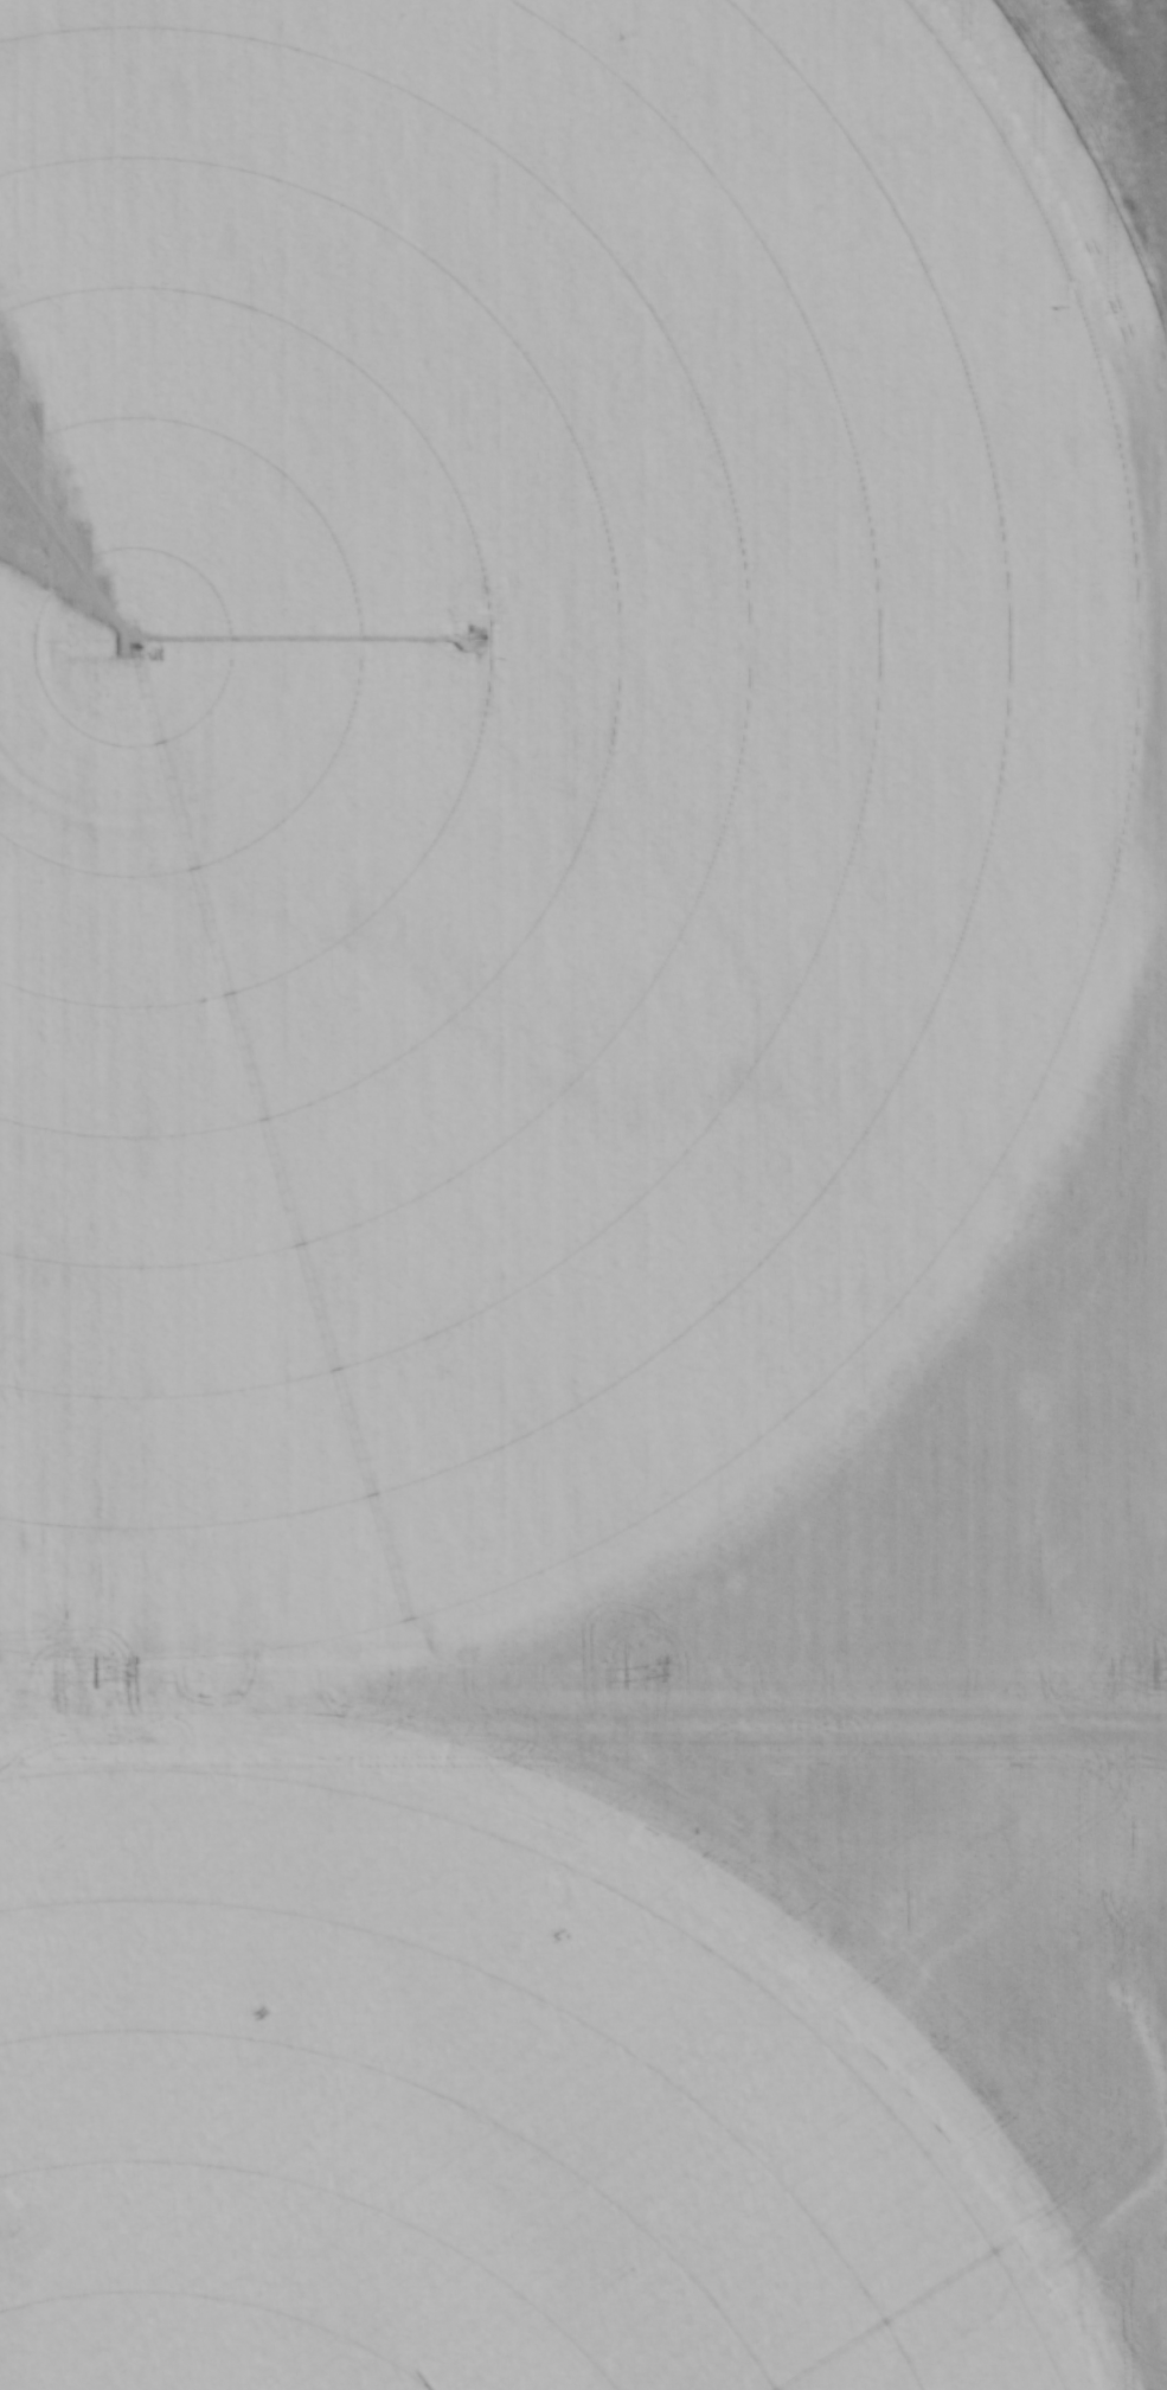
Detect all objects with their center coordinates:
power tower: (113, 1673)
power tower: (1163, 1674)
power tower: (633, 1677)

